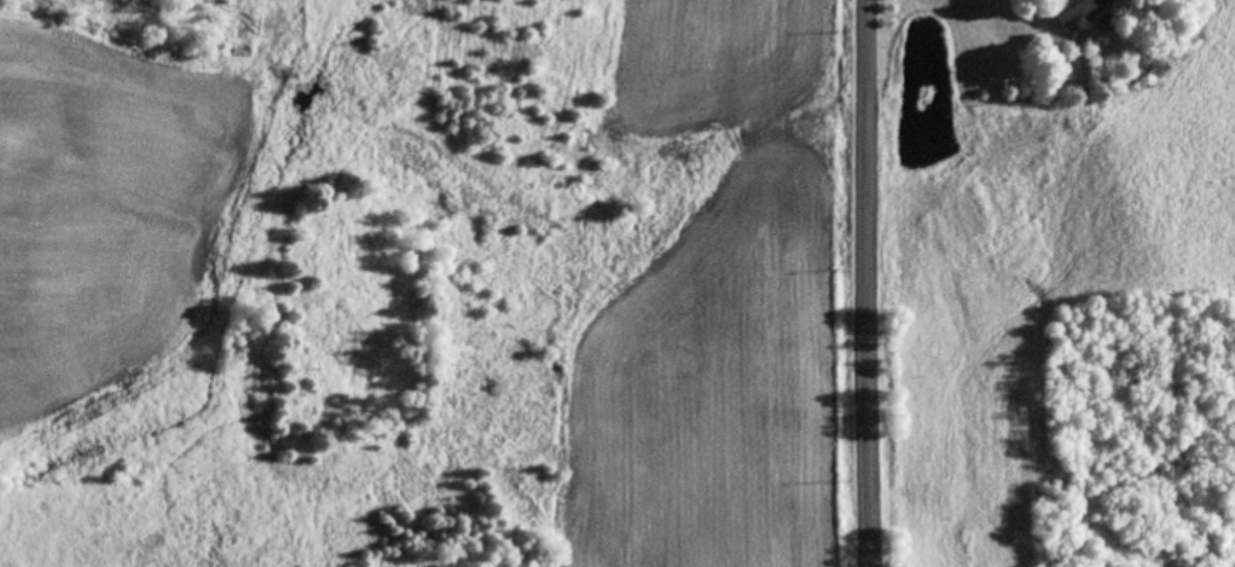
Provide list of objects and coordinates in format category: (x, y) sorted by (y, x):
building: (1065, 10)
road: (858, 283)

